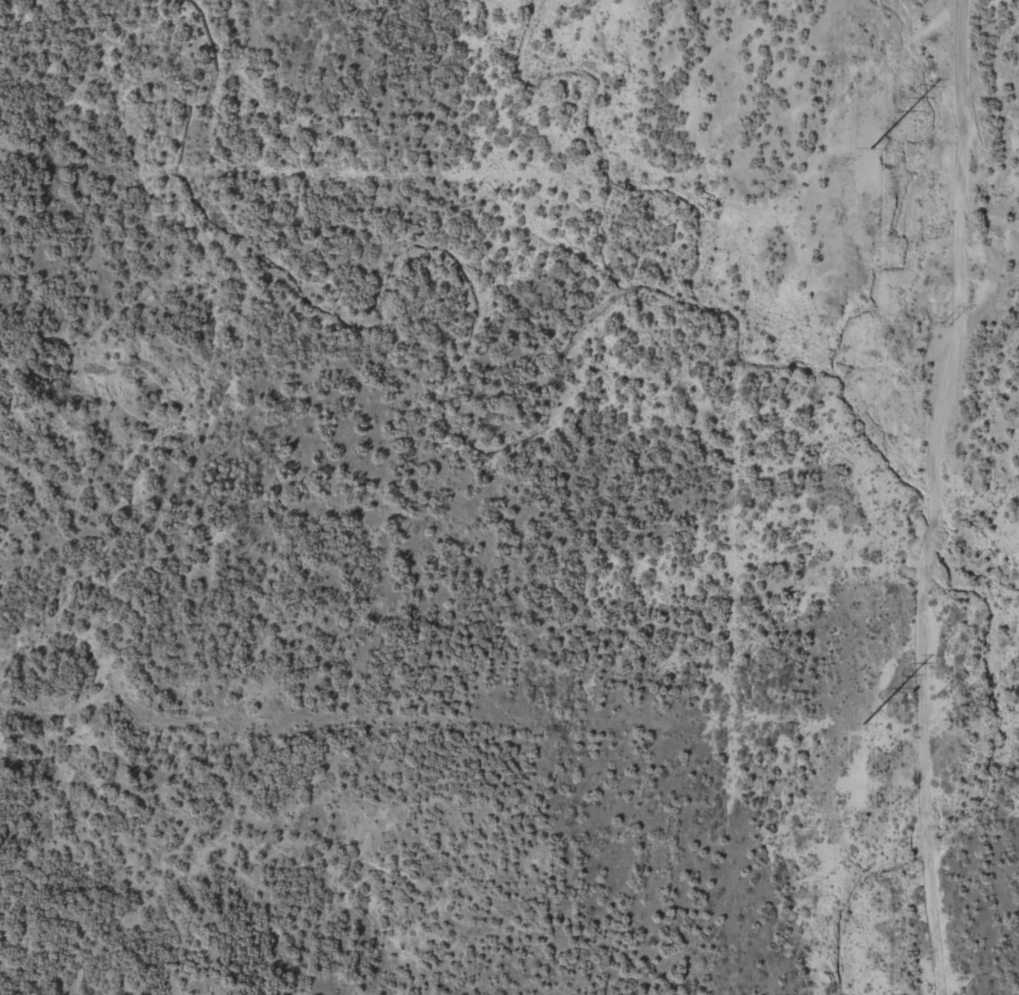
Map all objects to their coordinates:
power tower: (871, 149)
power tower: (942, 327)
power tower: (936, 693)
power tower: (863, 724)

